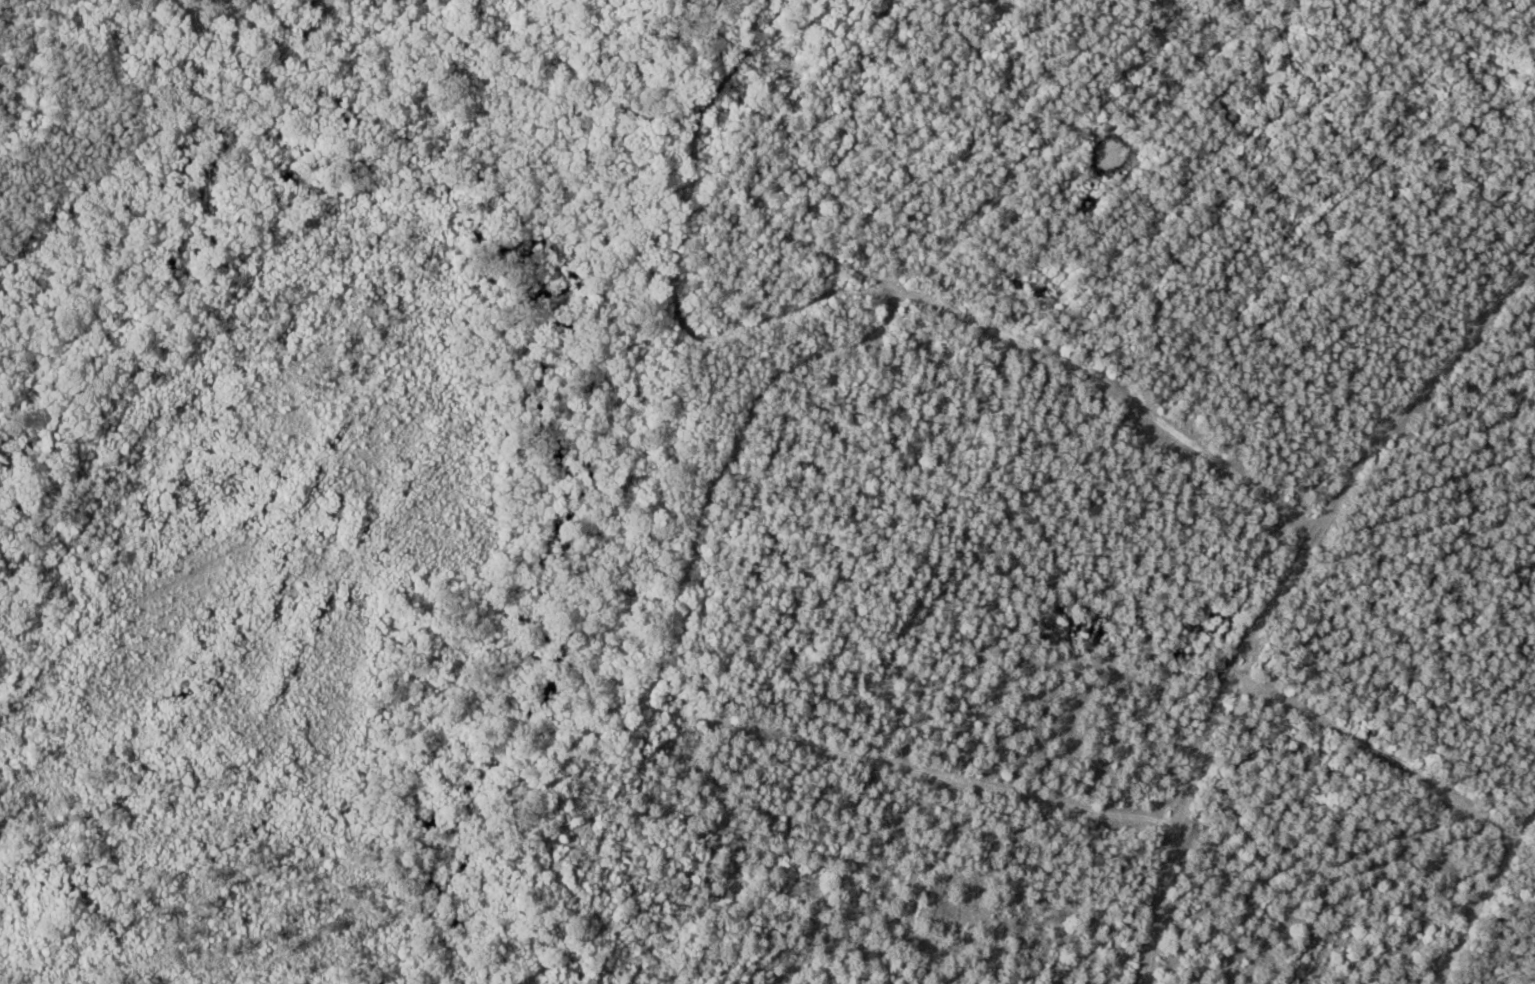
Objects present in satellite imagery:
road: (1099, 738)

